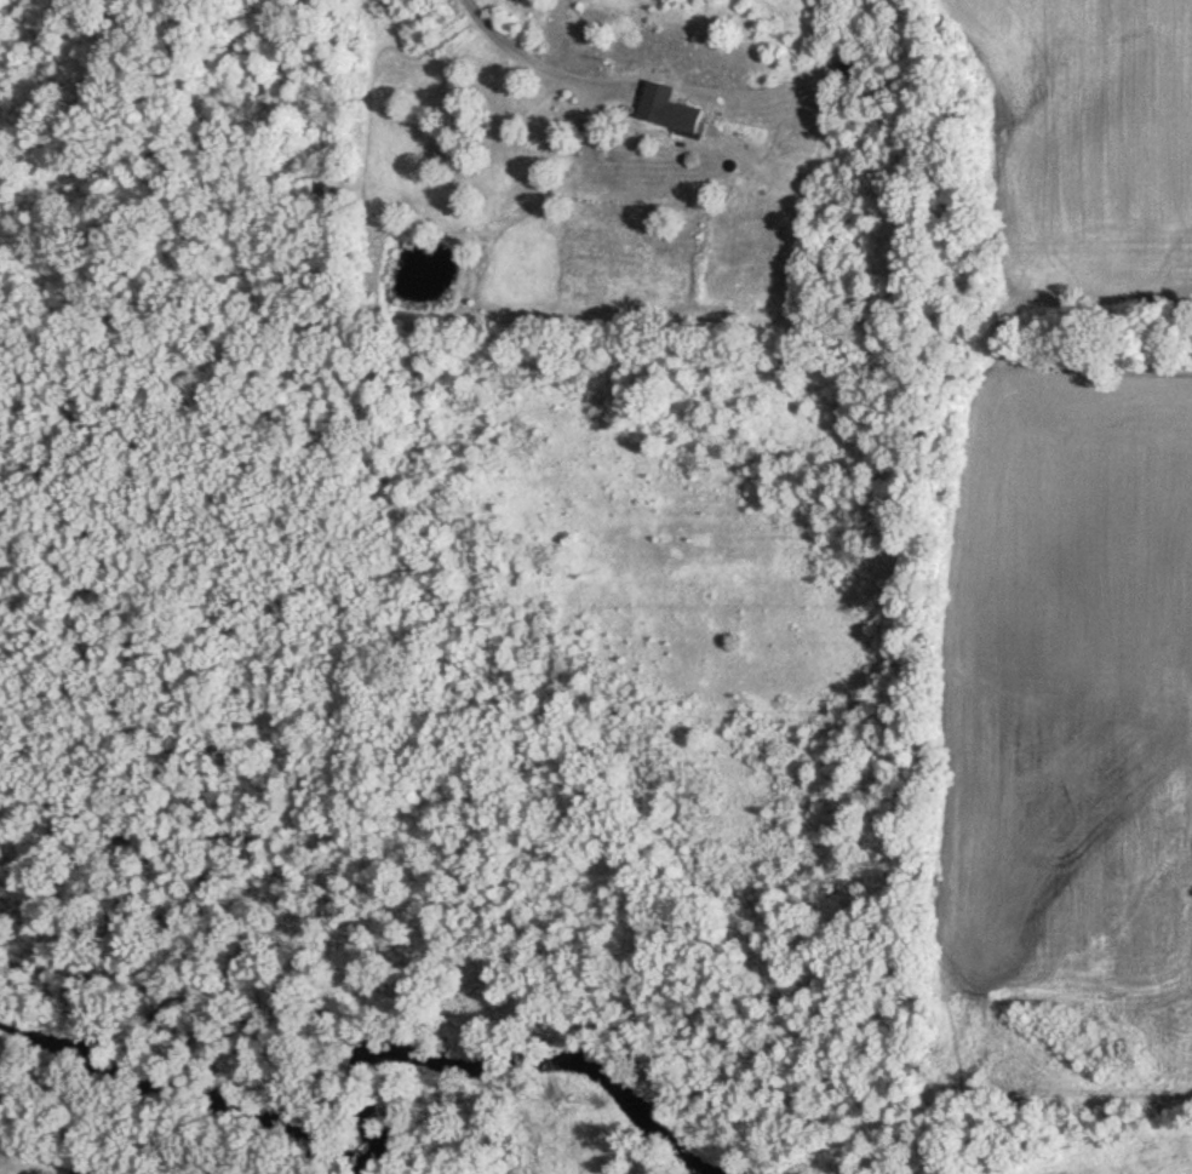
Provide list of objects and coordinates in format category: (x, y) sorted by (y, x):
road: (521, 58)
building: (682, 118)
building: (800, 181)

